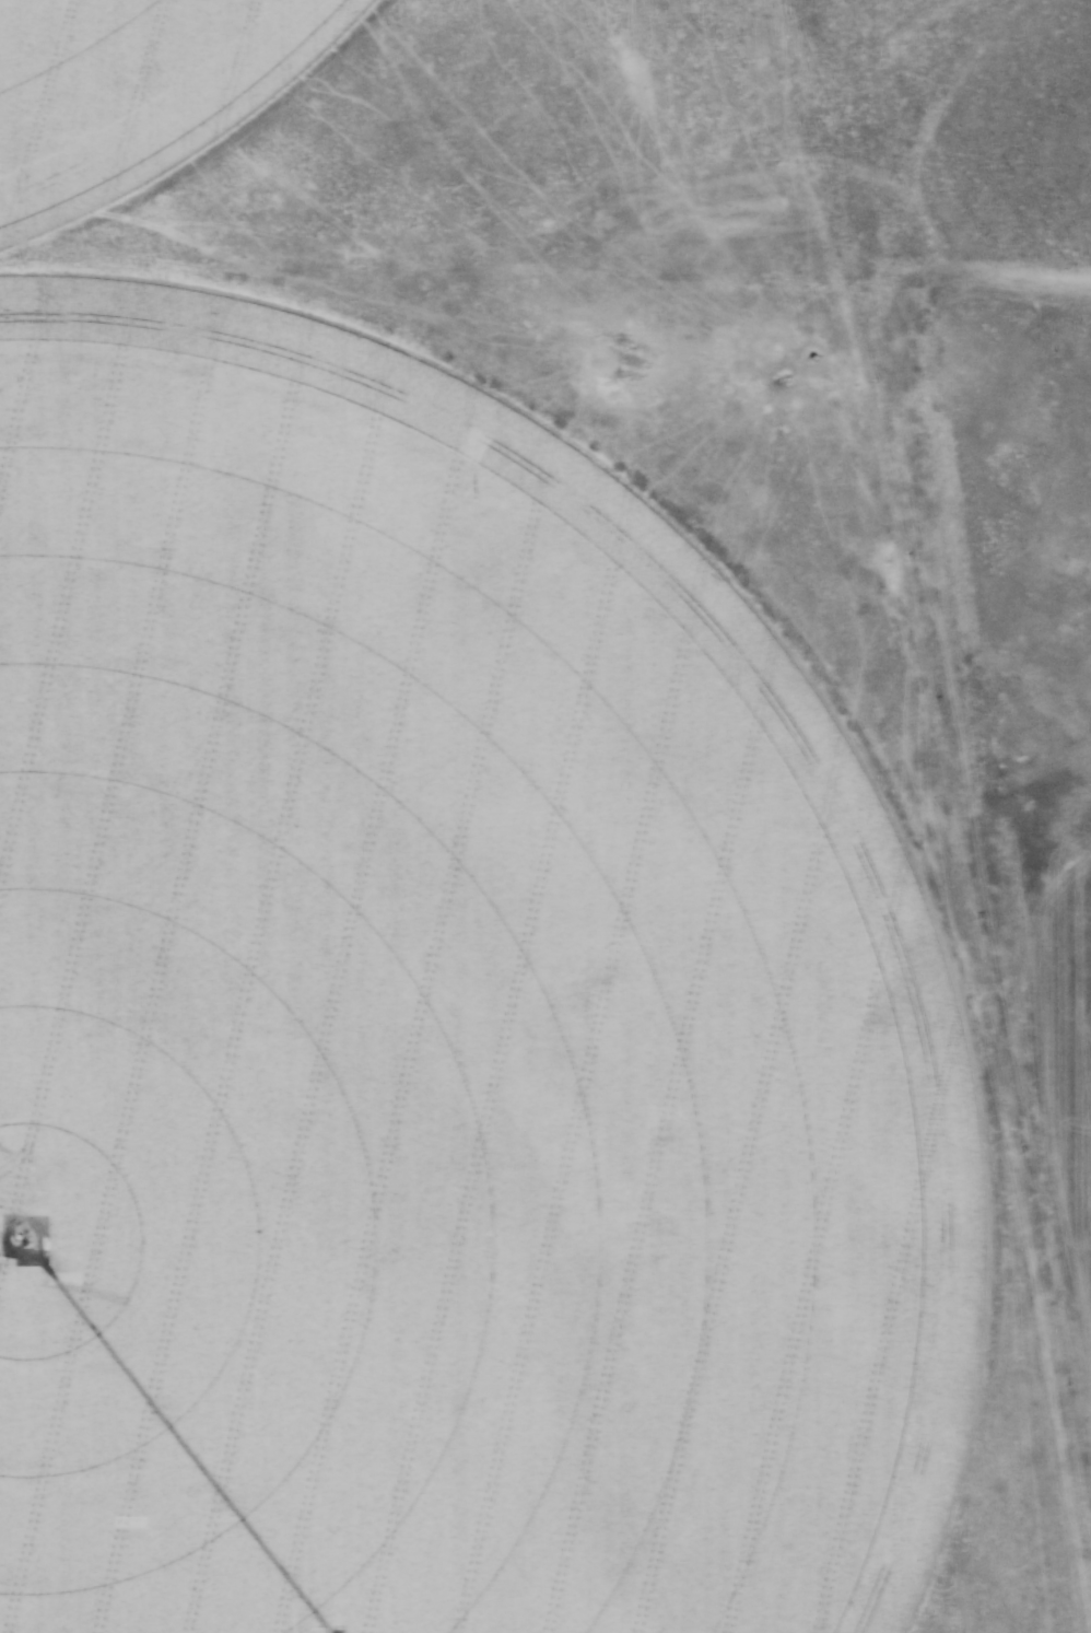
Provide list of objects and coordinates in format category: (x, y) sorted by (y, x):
crop: (132, 92)
crop: (433, 1033)
crop: (1087, 1174)

